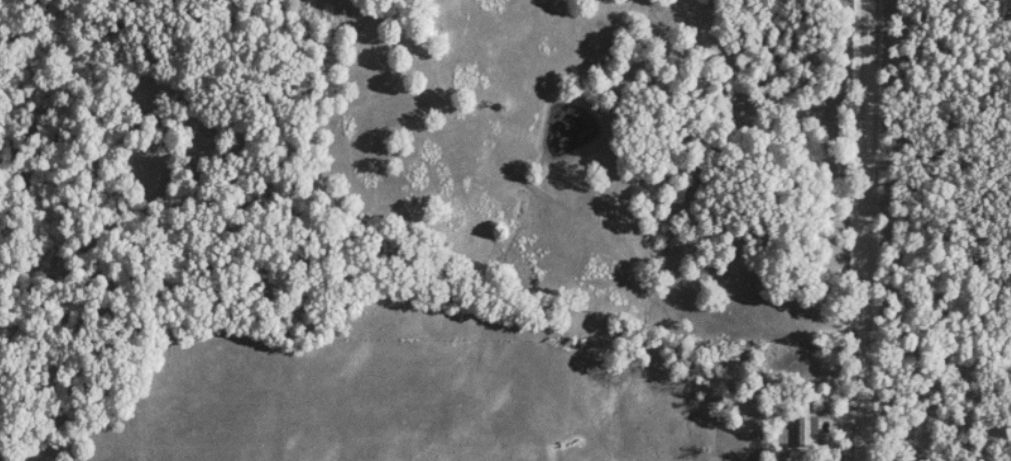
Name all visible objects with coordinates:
road: (862, 230)
building: (806, 421)

